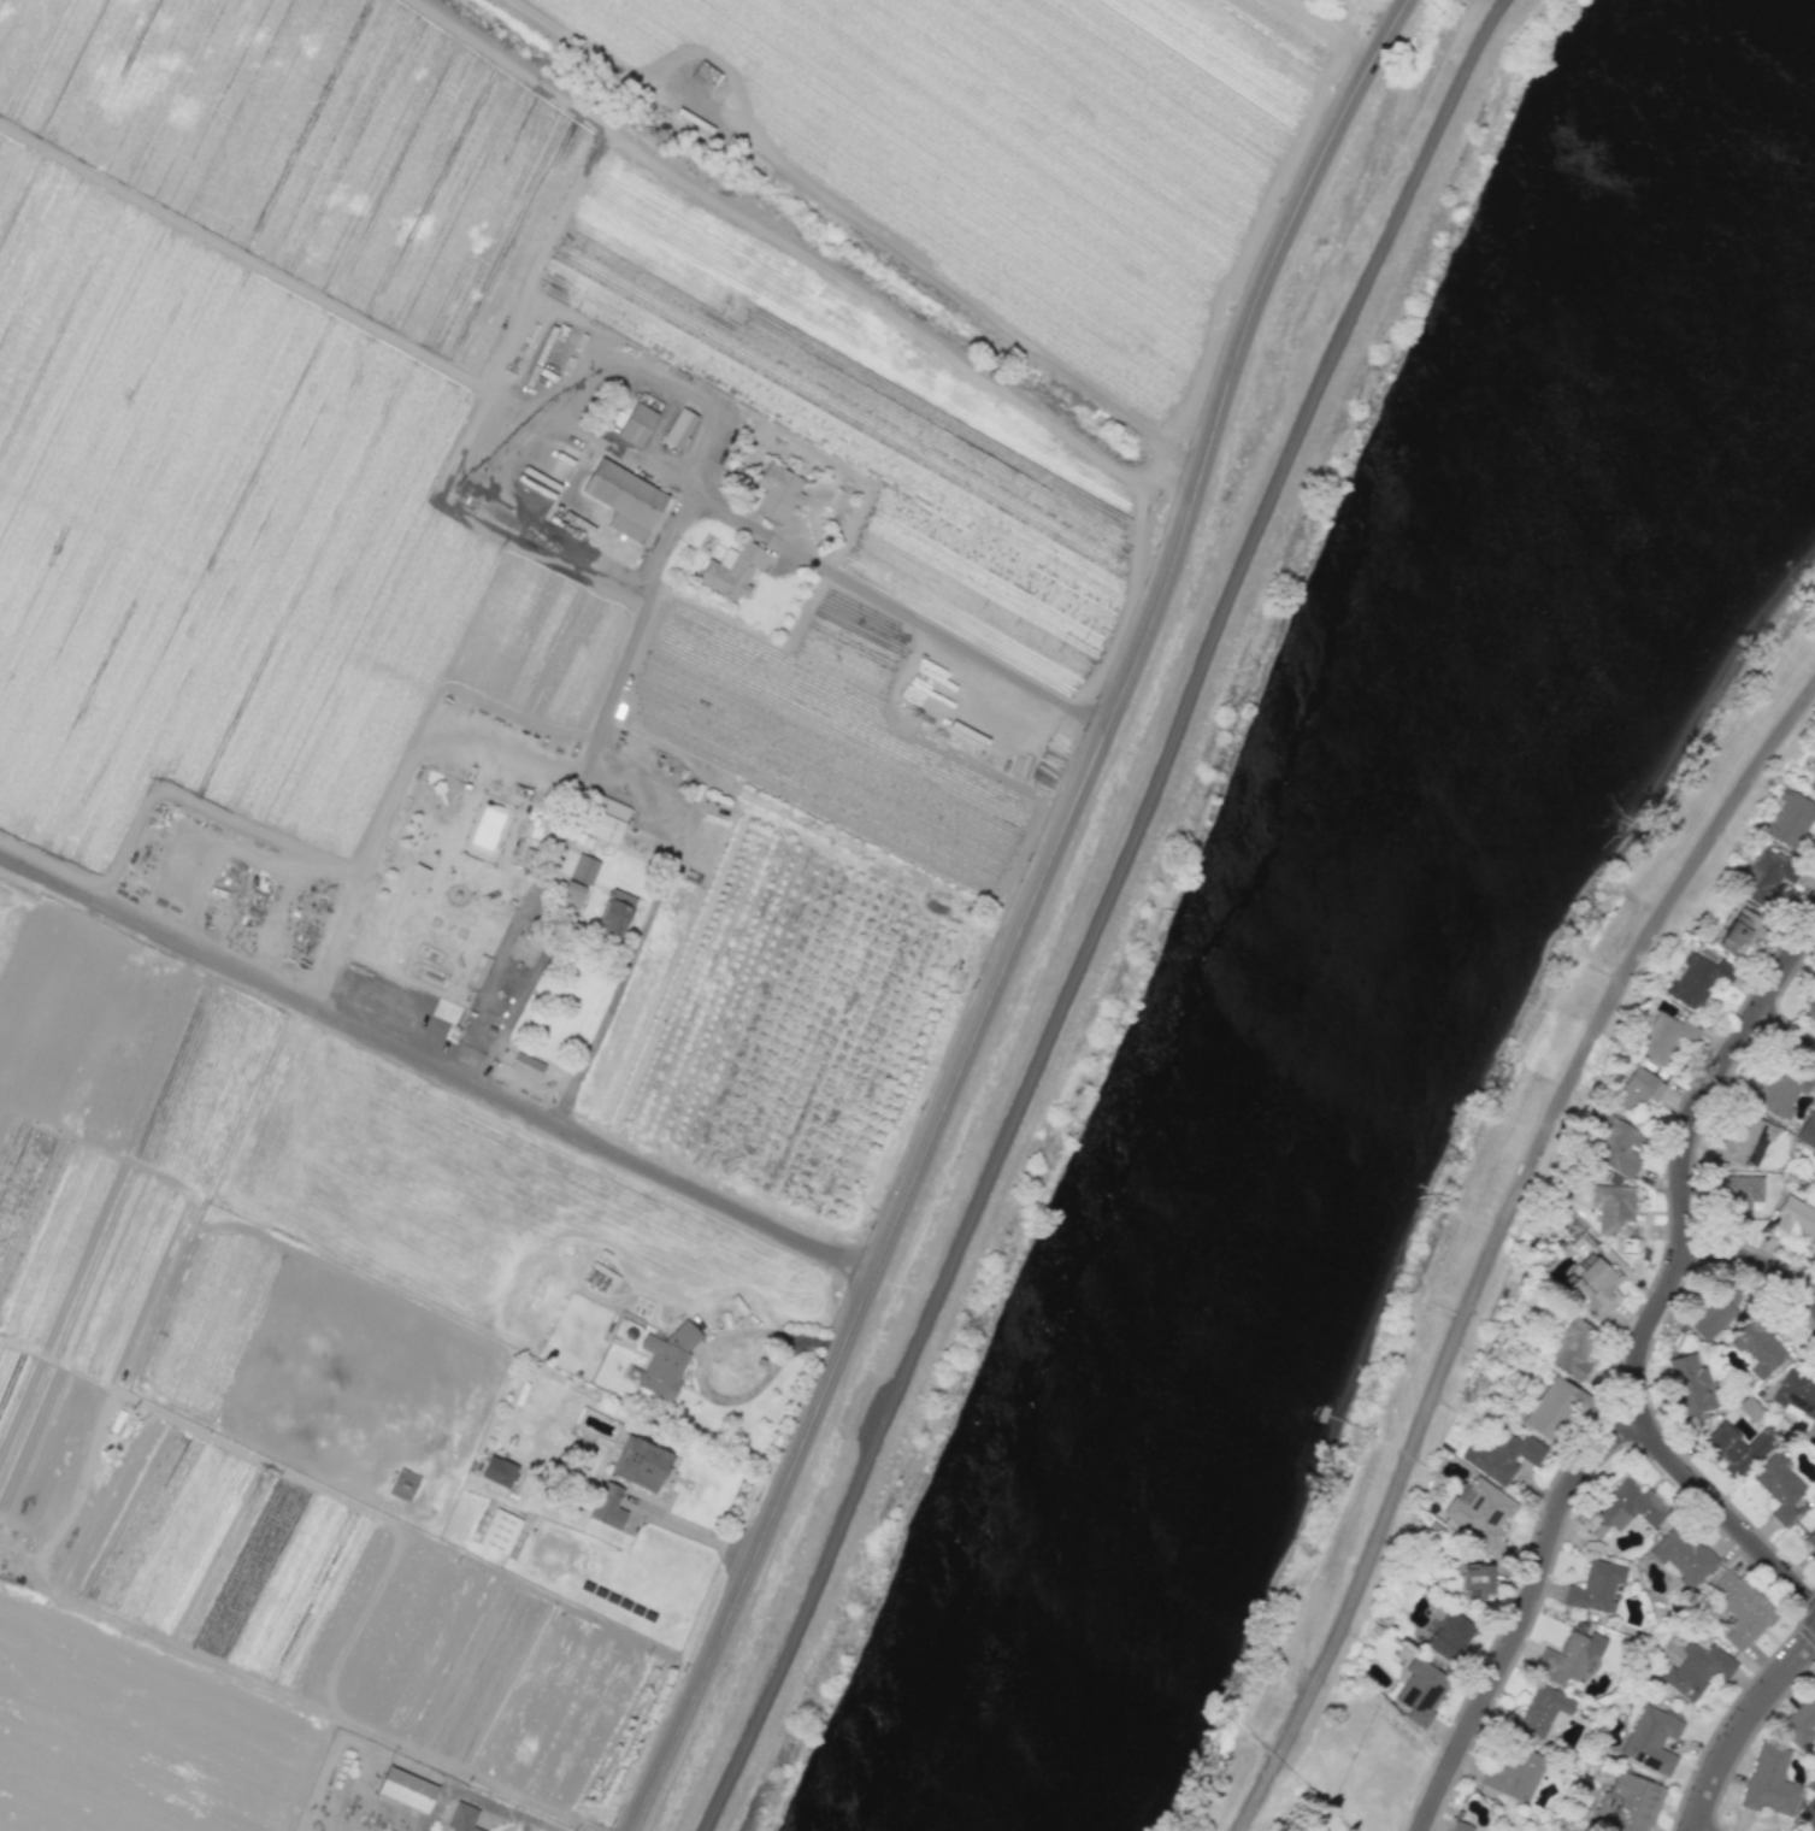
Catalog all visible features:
road: (1486, 34)
road: (962, 304)
road: (661, 385)
building: (640, 418)
building: (679, 426)
building: (777, 491)
road: (489, 495)
building: (624, 498)
road: (671, 541)
building: (732, 571)
building: (489, 755)
building: (1811, 784)
building: (1791, 819)
building: (601, 822)
road: (377, 846)
building: (583, 869)
building: (1767, 875)
building: (571, 894)
building: (615, 911)
road: (1023, 917)
road: (1097, 917)
road: (278, 926)
building: (1738, 932)
road: (332, 949)
building: (1696, 981)
river: (1355, 987)
building: (1811, 1013)
road: (1786, 1032)
building: (1667, 1037)
building: (526, 1066)
road: (434, 1068)
building: (1638, 1089)
building: (1774, 1093)
building: (1808, 1132)
building: (1744, 1141)
building: (1617, 1147)
building: (1740, 1193)
building: (1619, 1215)
building: (1795, 1217)
road: (1492, 1242)
road: (1754, 1262)
road: (1672, 1279)
building: (1595, 1288)
building: (1716, 1311)
building: (1572, 1348)
building: (1760, 1348)
building: (667, 1356)
road: (700, 1361)
building: (1690, 1385)
building: (1749, 1408)
building: (1552, 1409)
building: (1738, 1447)
building: (1503, 1455)
building: (640, 1459)
building: (499, 1468)
building: (402, 1484)
building: (1779, 1486)
building: (608, 1503)
building: (1628, 1506)
building: (1480, 1511)
road: (689, 1525)
road: (591, 1527)
building: (500, 1531)
building: (1593, 1543)
building: (1681, 1556)
building: (1474, 1580)
building: (1596, 1586)
building: (1740, 1608)
road: (1526, 1614)
building: (1449, 1636)
building: (1569, 1655)
building: (1696, 1670)
building: (1420, 1691)
building: (1543, 1708)
building: (1801, 1721)
road: (1743, 1729)
crop: (132, 1735)
building: (1651, 1738)
building: (1514, 1774)
building: (1768, 1780)
building: (406, 1788)
road: (483, 1797)
building: (1625, 1803)
building: (1808, 1814)
building: (461, 1817)
building: (1459, 1826)

